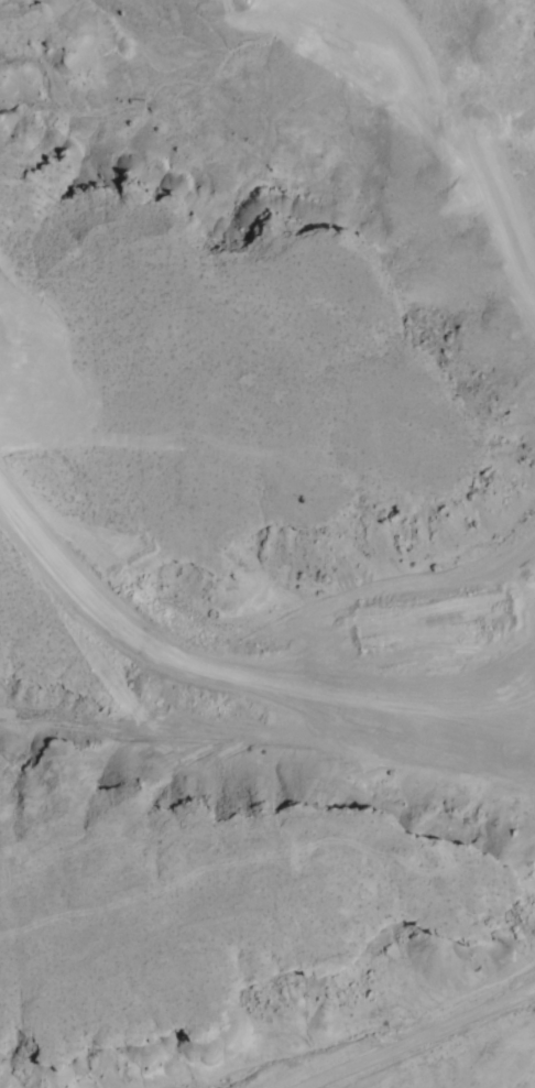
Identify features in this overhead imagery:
road: (426, 1035)

